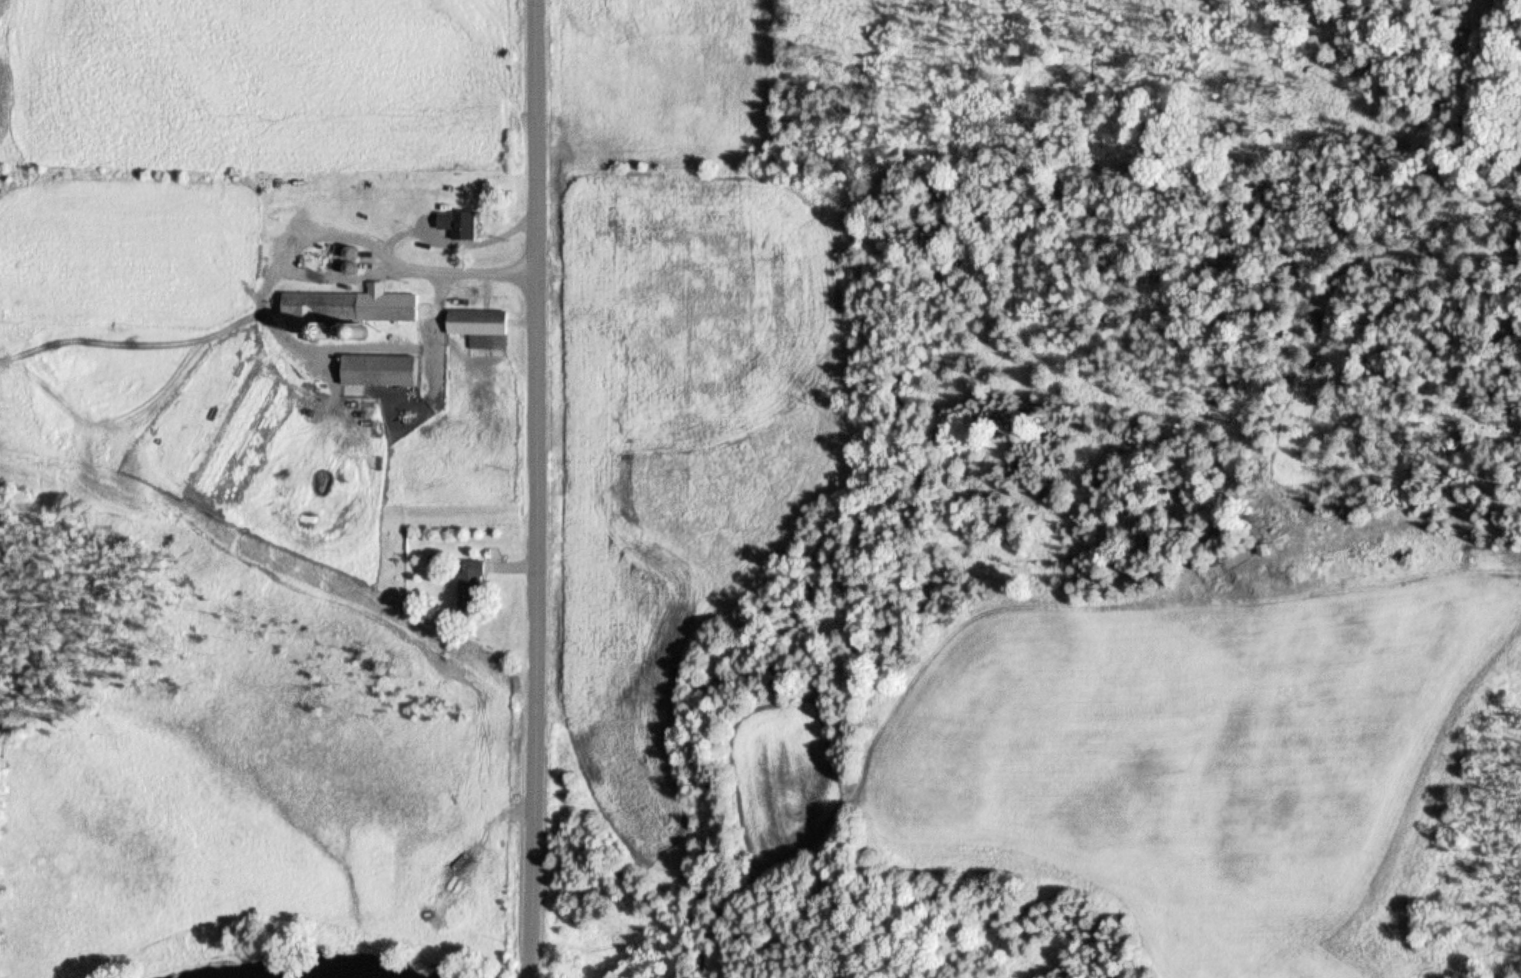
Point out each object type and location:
building: (458, 225)
building: (347, 314)
building: (478, 328)
building: (380, 373)
road: (535, 489)
building: (472, 586)
road: (1168, 603)

